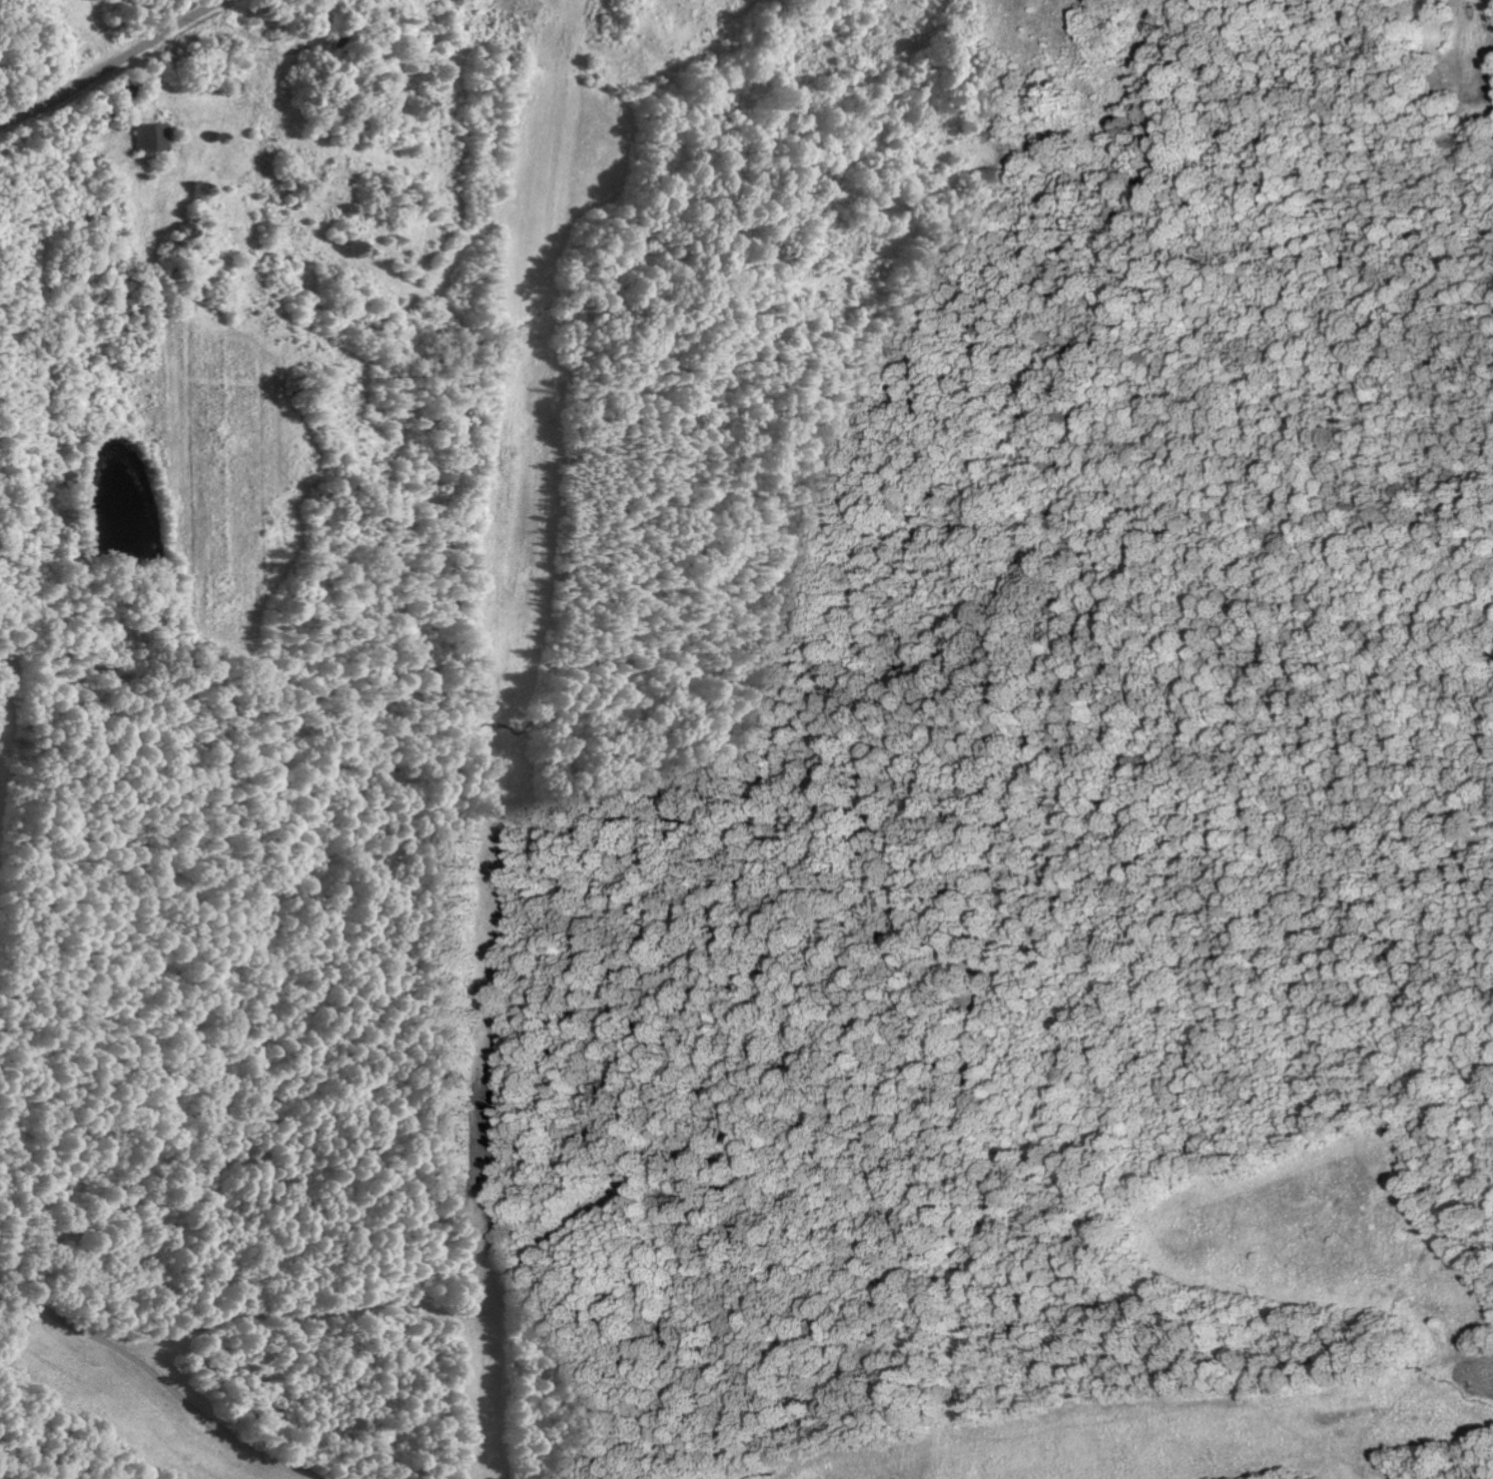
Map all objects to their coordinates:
road: (113, 64)
building: (128, 90)
building: (153, 137)

